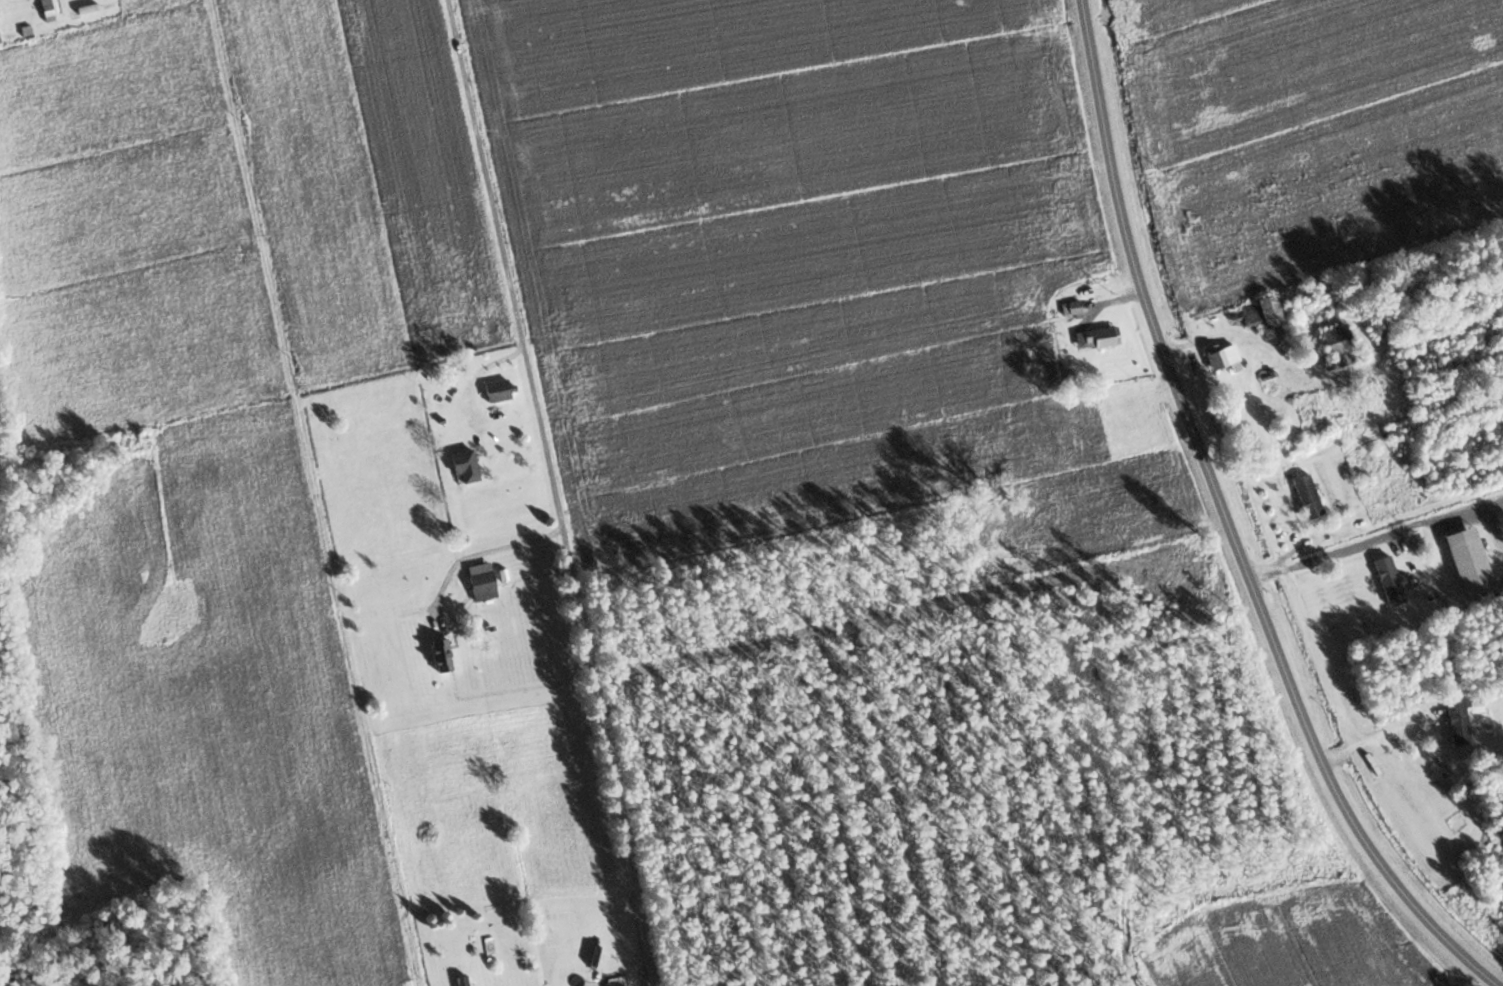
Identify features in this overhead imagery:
building: (86, 8)
building: (47, 10)
building: (1072, 308)
building: (1268, 311)
building: (1101, 337)
building: (1337, 346)
building: (1223, 358)
building: (496, 390)
building: (463, 466)
road: (311, 492)
building: (1307, 496)
road: (1226, 522)
road: (1336, 547)
building: (1466, 560)
building: (1388, 580)
building: (480, 582)
road: (431, 608)
building: (443, 654)
building: (1473, 729)
building: (461, 980)

